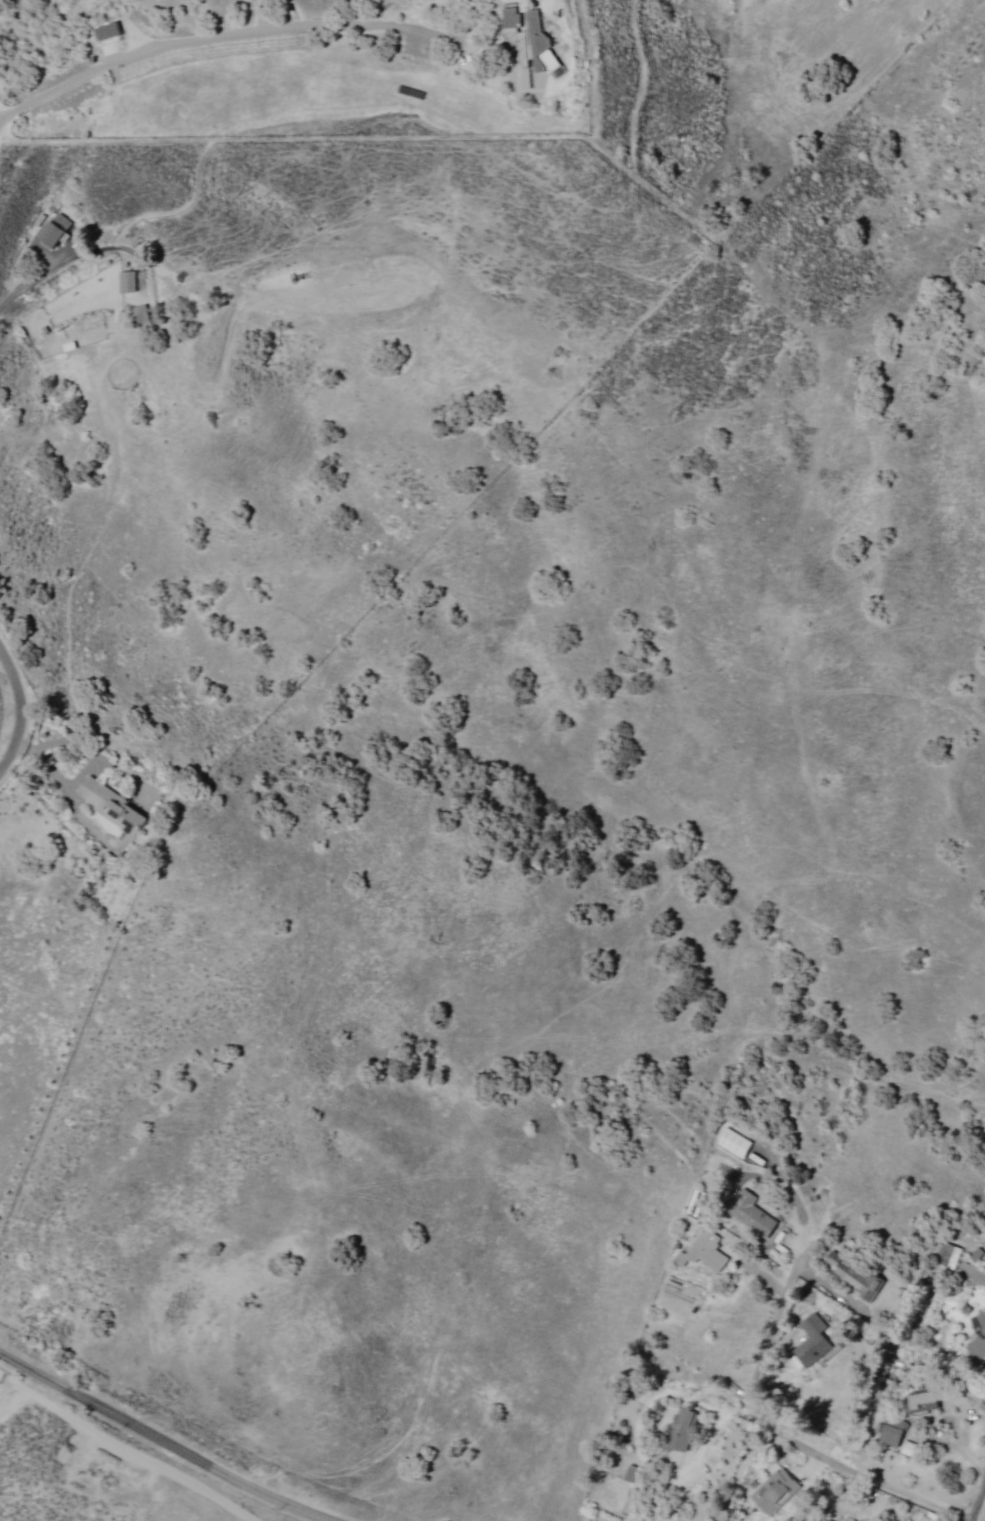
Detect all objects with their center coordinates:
building: (108, 32)
building: (535, 36)
road: (637, 86)
building: (54, 231)
building: (127, 281)
building: (142, 314)
road: (466, 349)
road: (19, 692)
road: (270, 701)
road: (48, 743)
building: (112, 806)
road: (943, 924)
road: (939, 1153)
building: (753, 1213)
building: (704, 1251)
building: (947, 1256)
building: (854, 1276)
building: (978, 1338)
building: (812, 1341)
building: (926, 1401)
building: (683, 1430)
building: (891, 1436)
road: (167, 1440)
building: (774, 1492)
road: (978, 1501)

